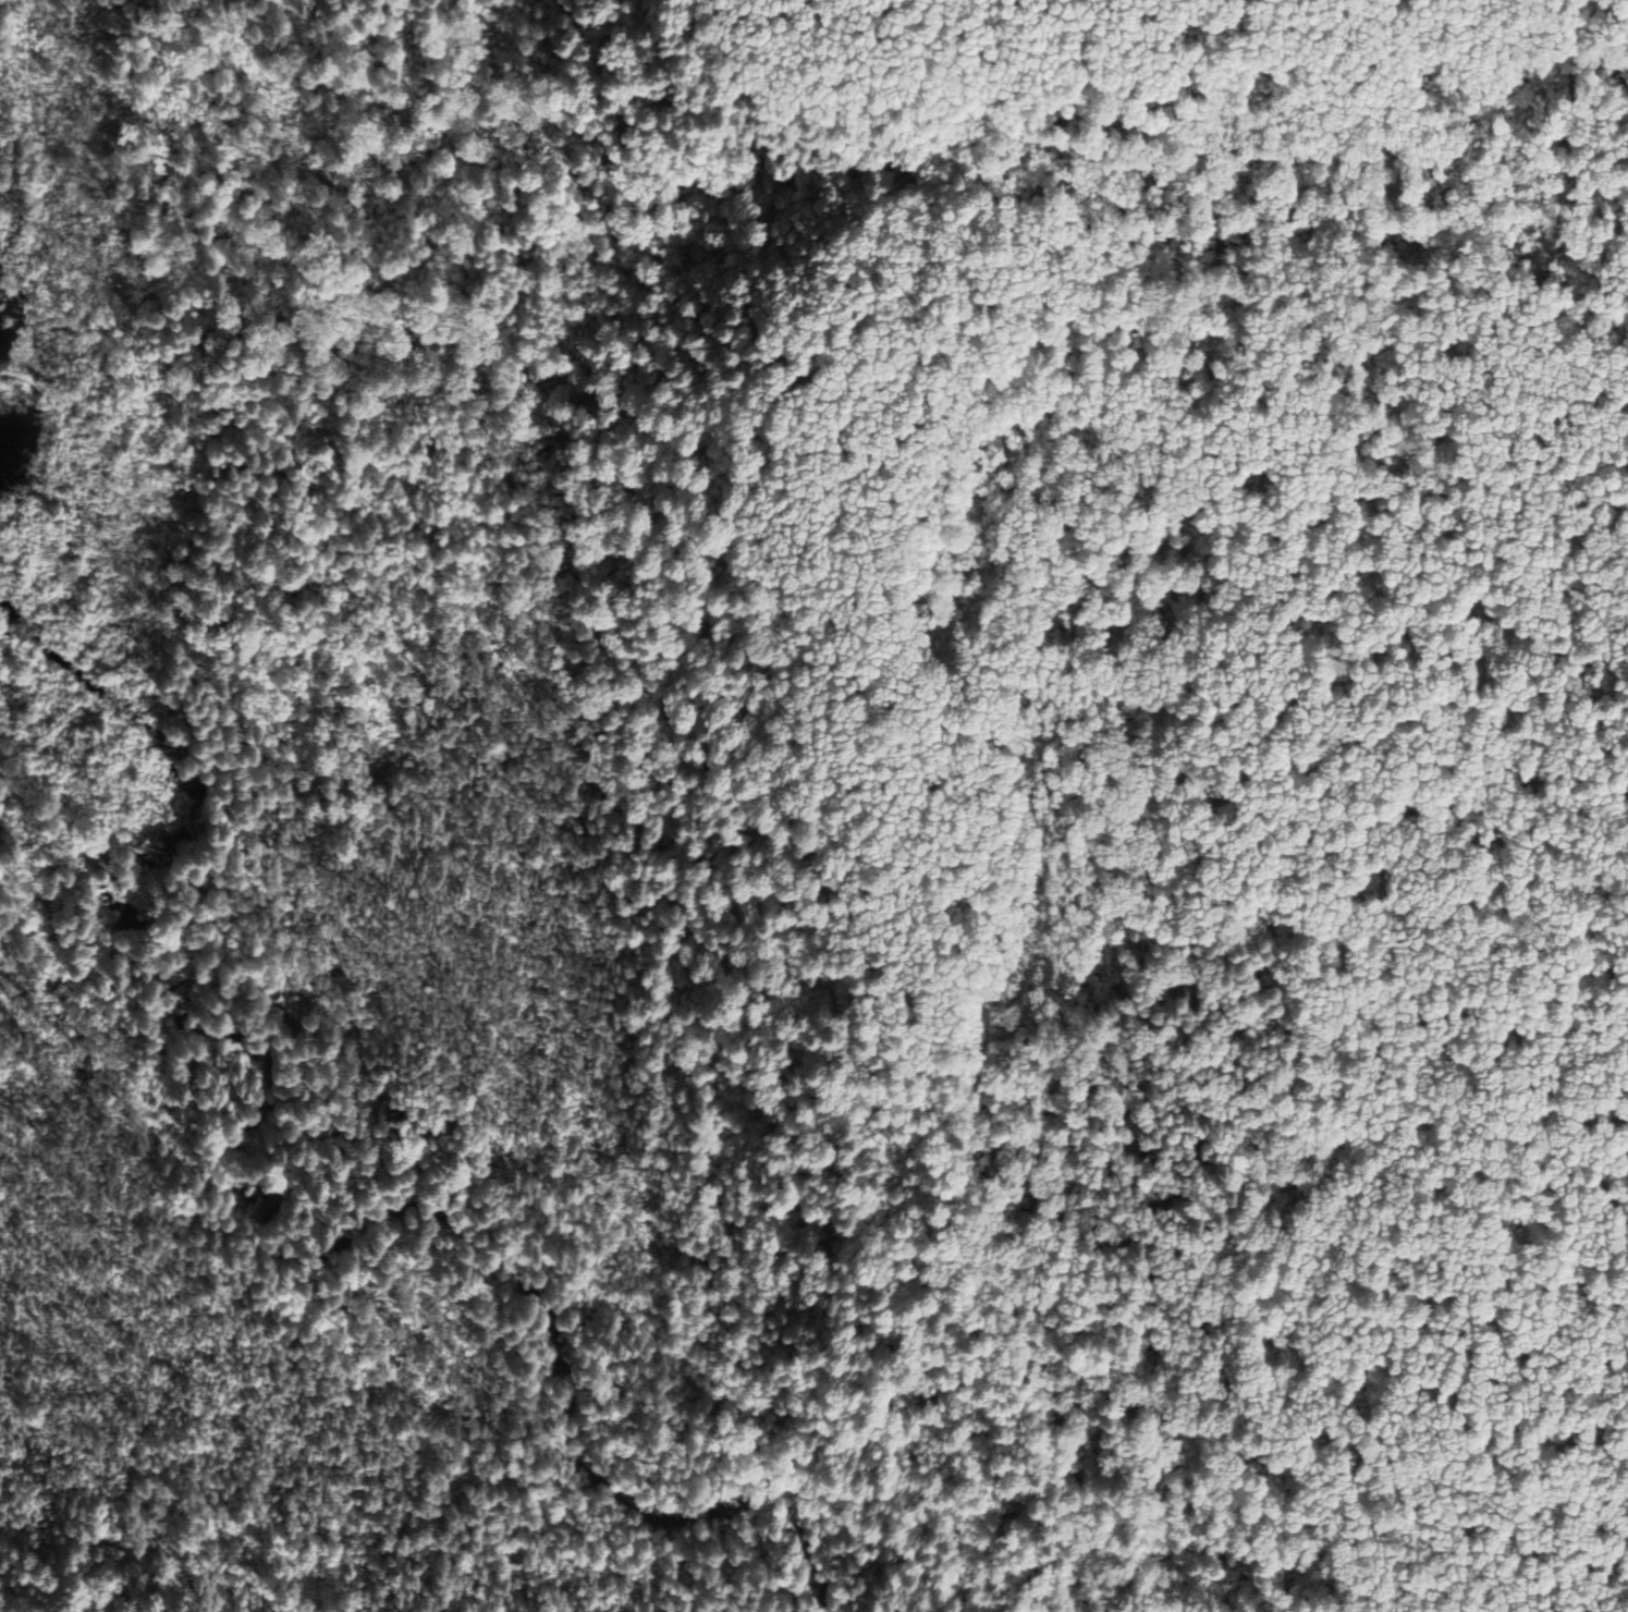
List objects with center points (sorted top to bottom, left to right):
river: (267, 1172)

